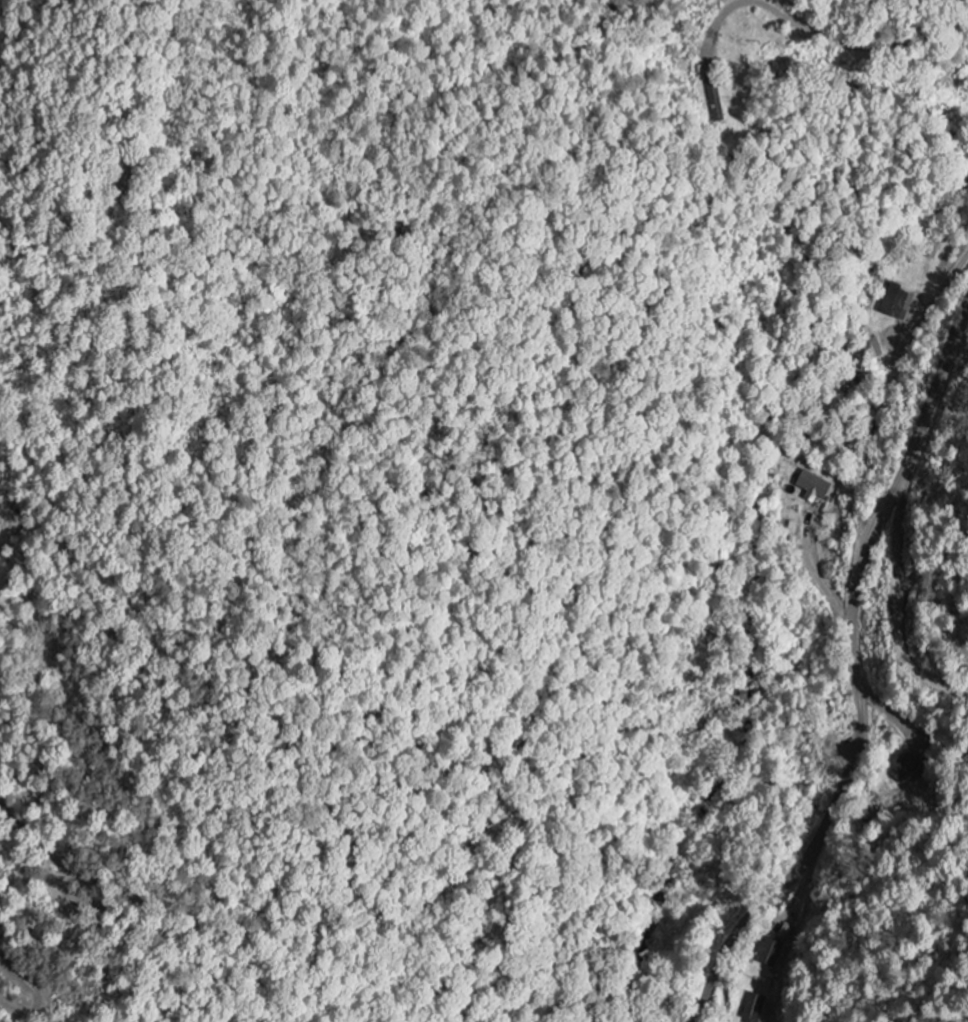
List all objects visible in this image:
road: (827, 36)
building: (715, 104)
road: (933, 298)
building: (896, 305)
building: (811, 487)
road: (856, 676)
building: (766, 952)

